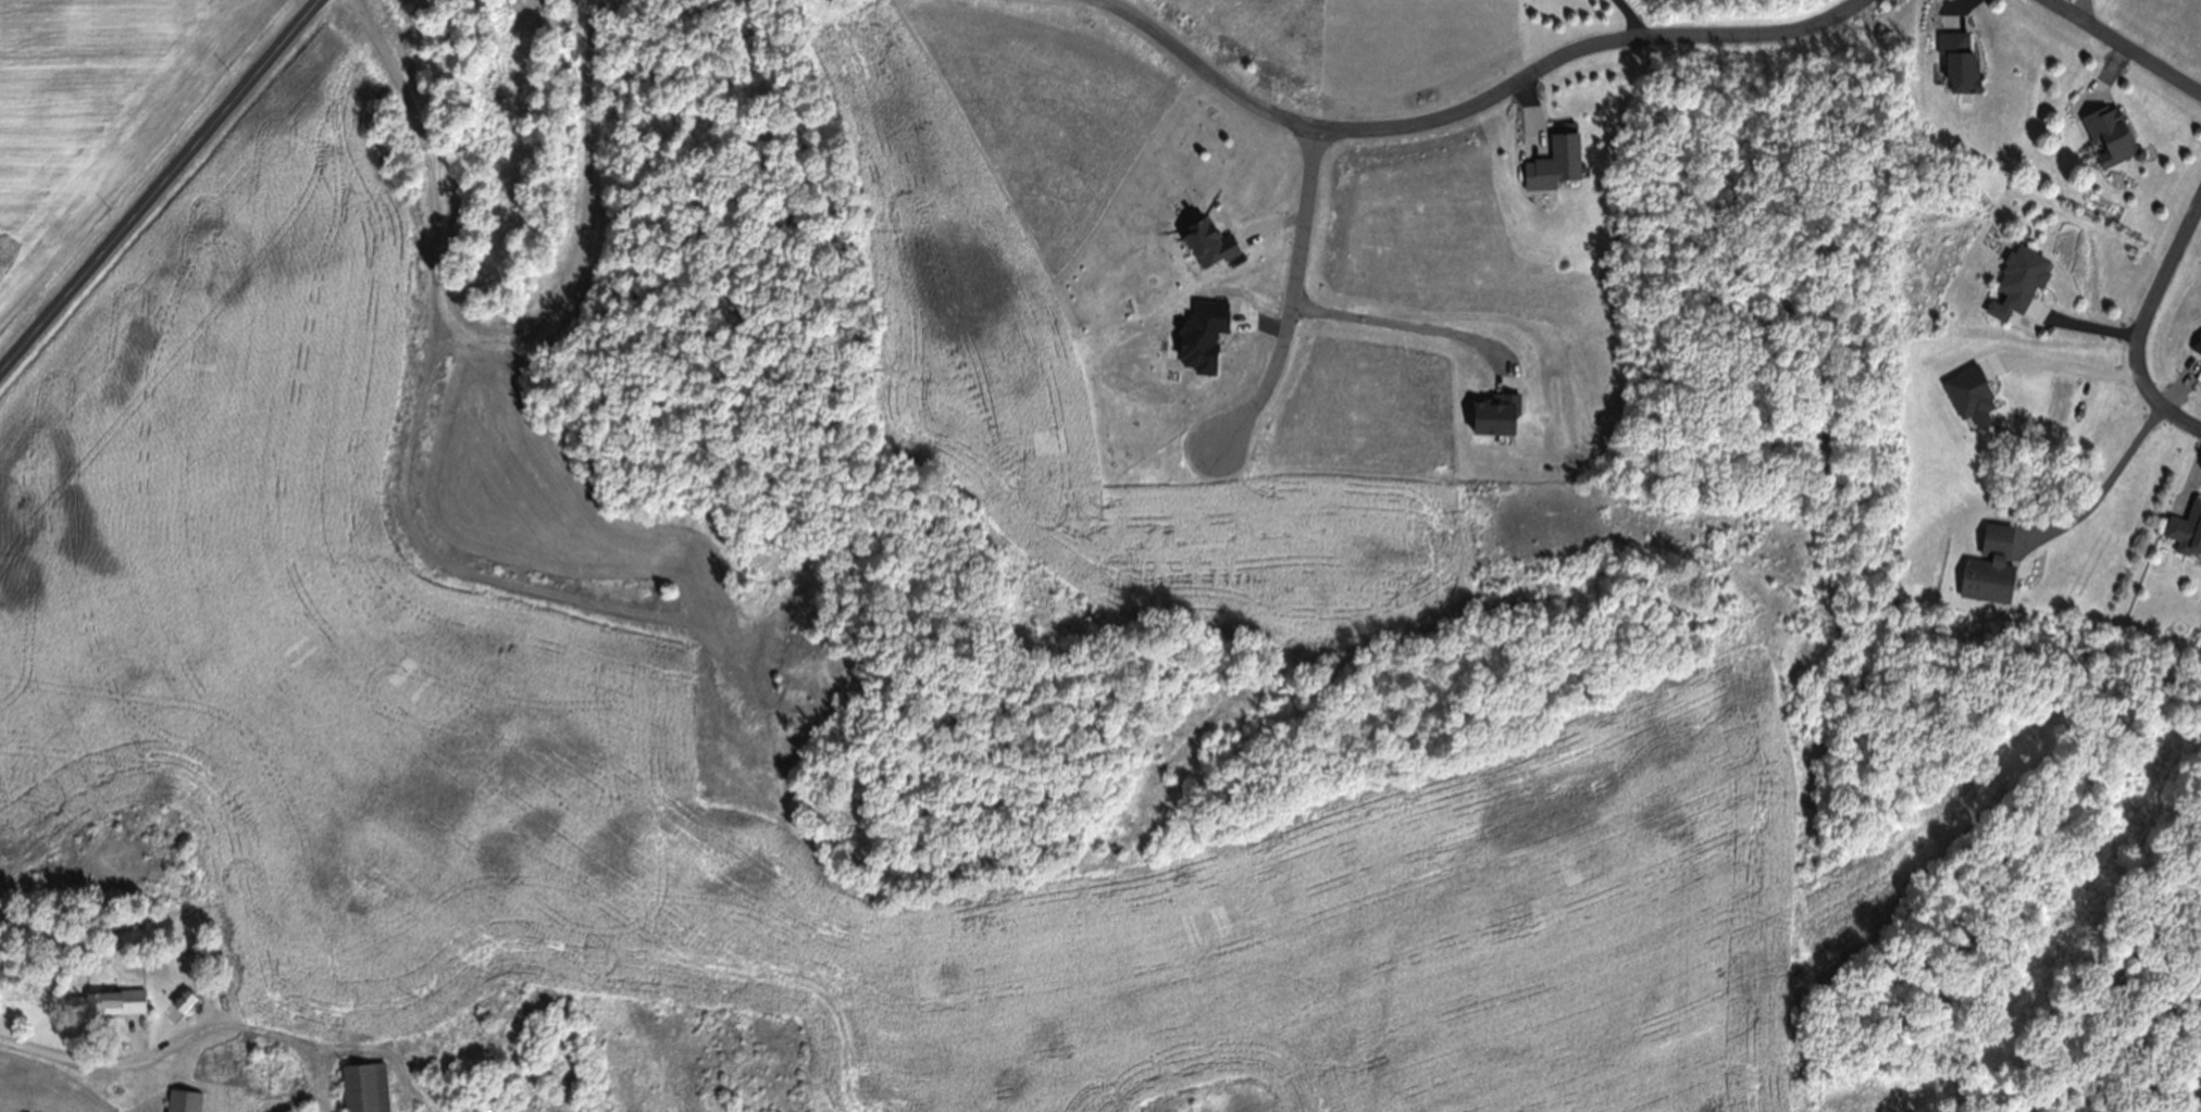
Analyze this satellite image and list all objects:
road: (1631, 20)
road: (2114, 52)
building: (1957, 66)
road: (1458, 120)
building: (2107, 140)
building: (1553, 167)
road: (159, 187)
building: (1207, 250)
building: (2017, 287)
road: (1291, 303)
road: (2139, 327)
building: (2198, 351)
road: (2061, 363)
road: (2098, 479)
building: (2186, 535)
crop: (1419, 547)
building: (1988, 573)
building: (103, 1009)
road: (152, 1047)
building: (363, 1090)
building: (183, 1103)

